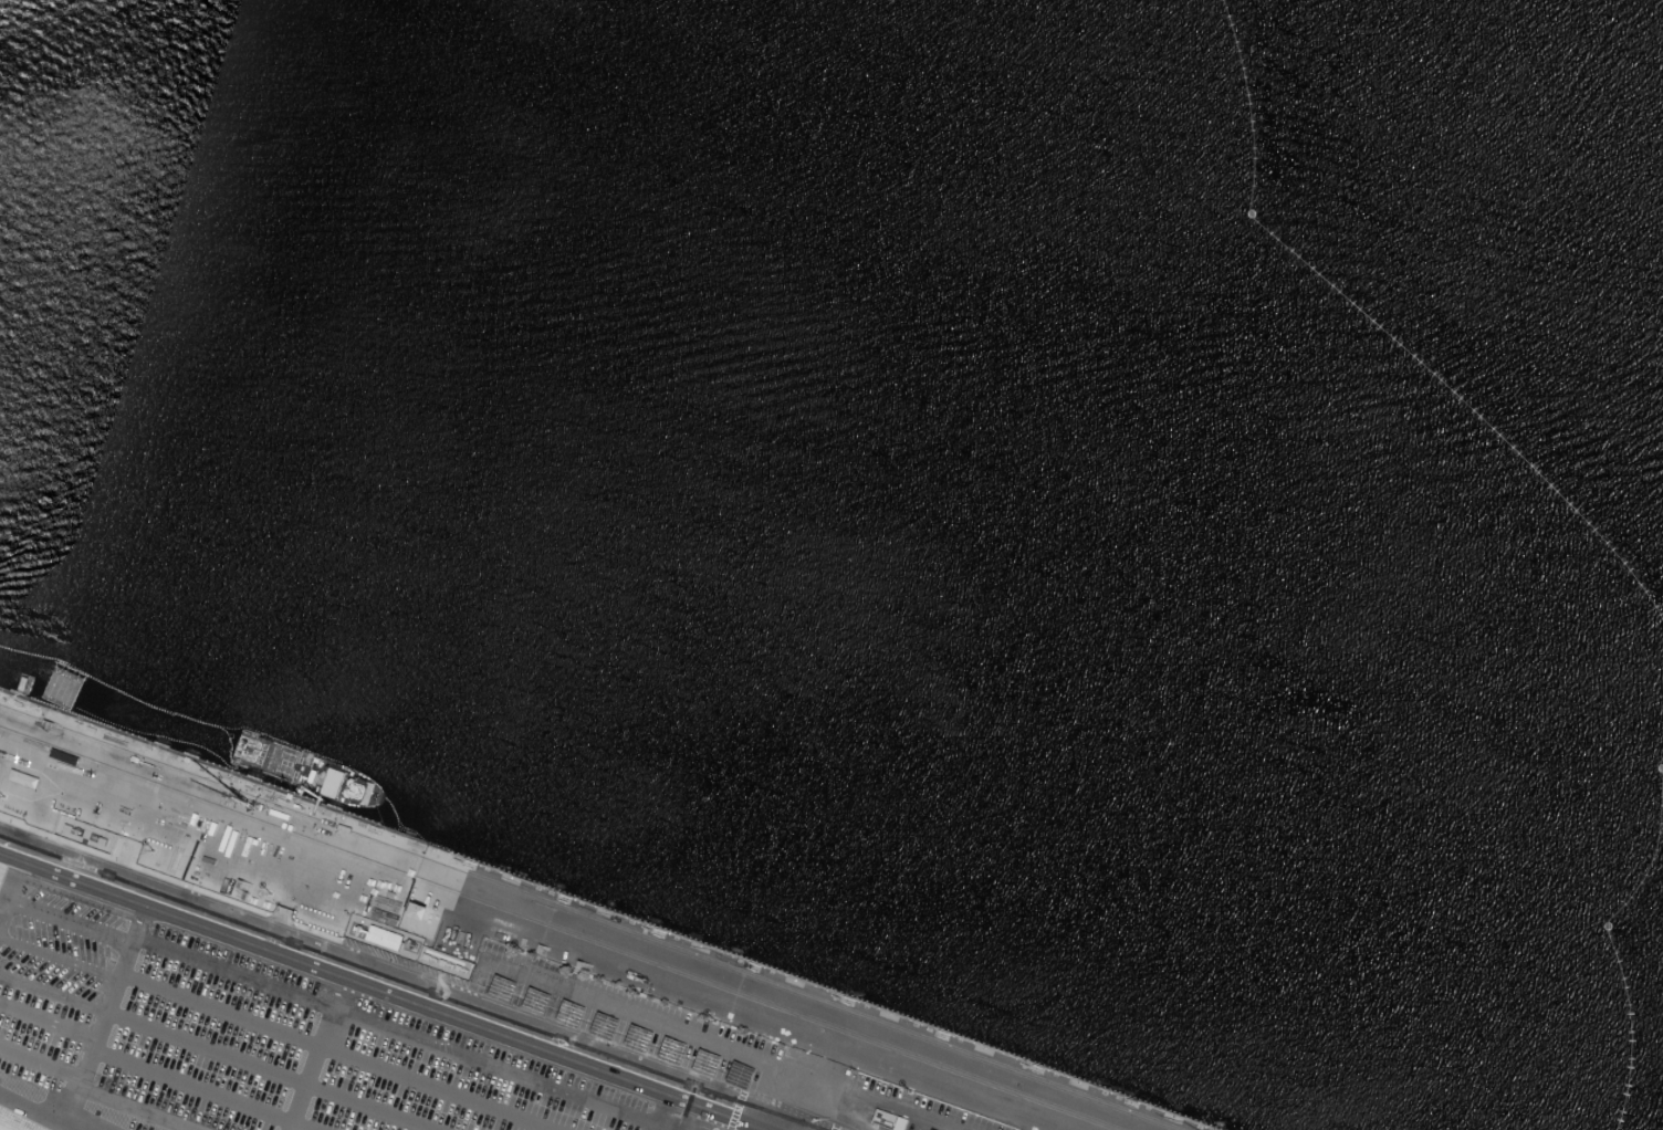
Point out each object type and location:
airport: (735, 604)
building: (21, 776)
road: (4, 847)
road: (12, 887)
road: (67, 924)
road: (59, 959)
road: (396, 988)
road: (53, 993)
road: (627, 1014)
road: (48, 1022)
road: (100, 1030)
road: (397, 1030)
parking lot: (242, 1039)
road: (335, 1051)
road: (307, 1068)
road: (269, 1071)
road: (199, 1091)
road: (860, 1096)
road: (74, 1099)
road: (145, 1105)
road: (51, 1112)
road: (859, 1116)

